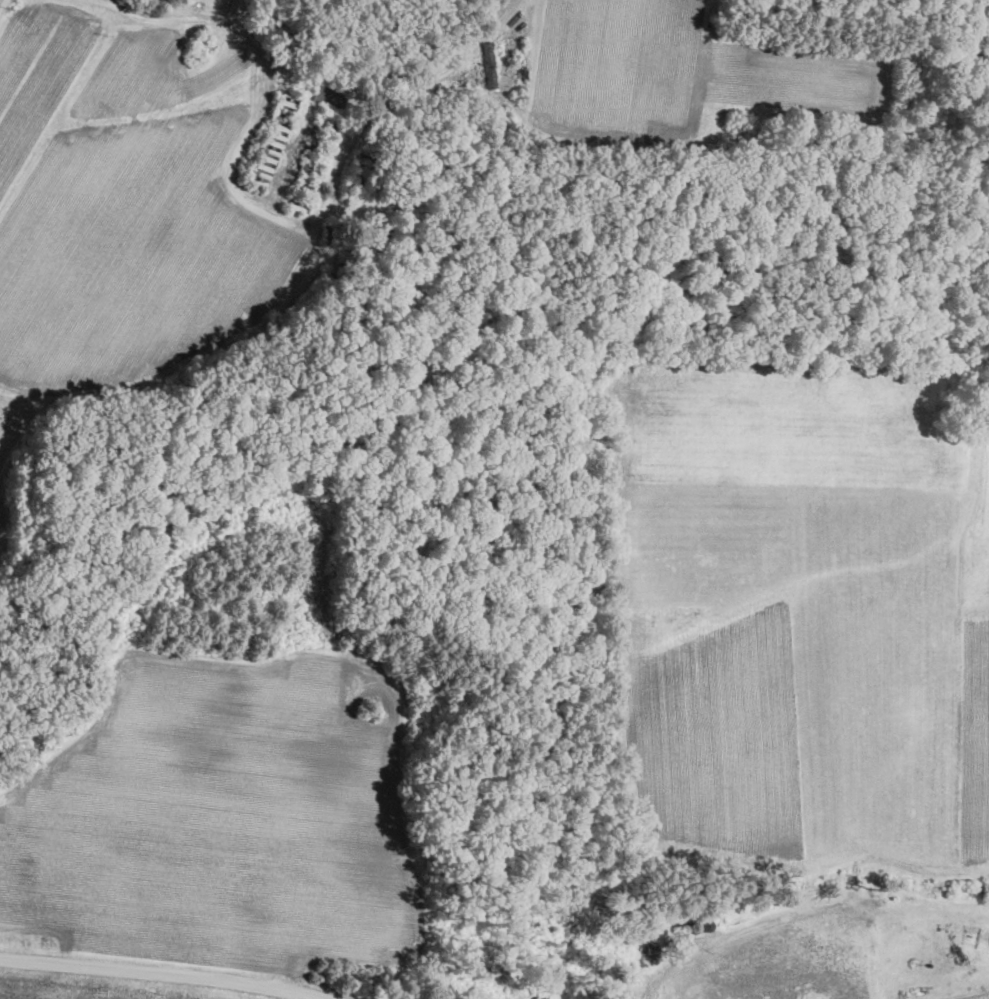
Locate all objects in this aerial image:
building: (235, 6)
road: (282, 63)
building: (490, 64)
building: (329, 95)
road: (265, 204)
road: (150, 978)

